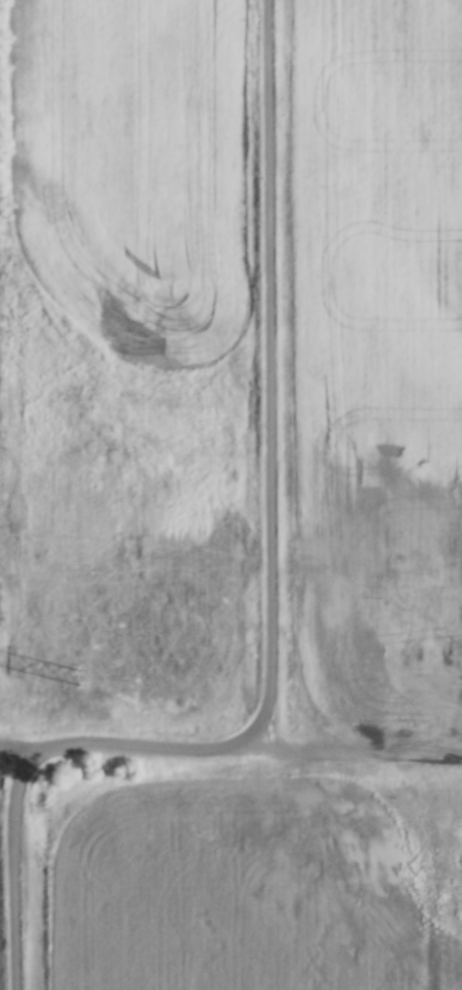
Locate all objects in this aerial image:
road: (269, 377)
power tower: (73, 674)
road: (155, 749)
road: (23, 752)
road: (363, 753)
road: (14, 865)

